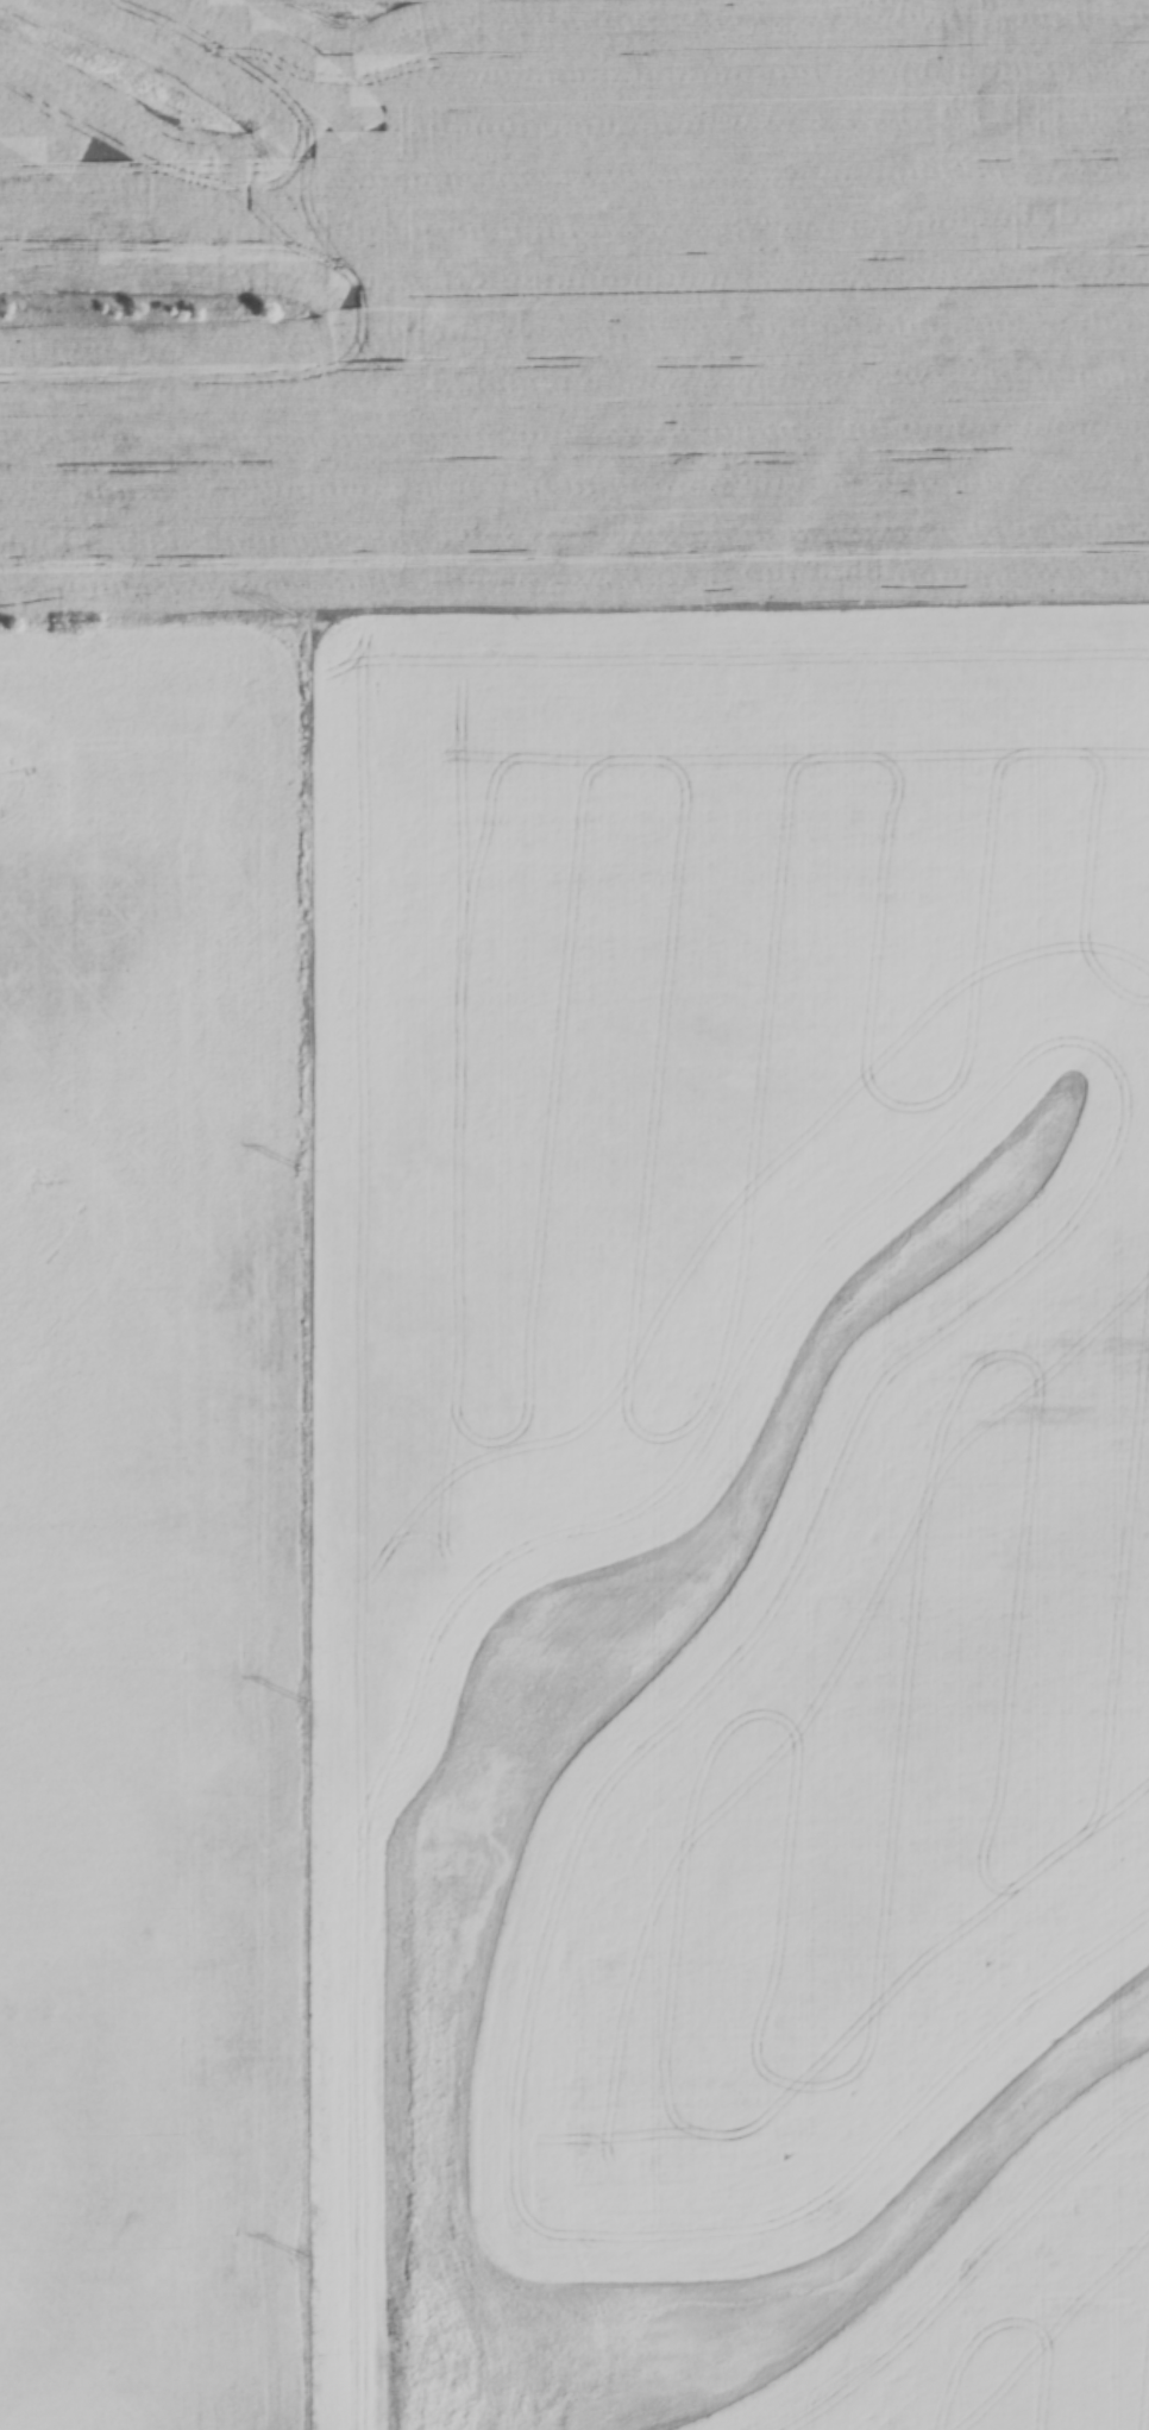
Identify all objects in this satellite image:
power tower: (333, 26)
power tower: (294, 620)
power tower: (301, 1172)
power tower: (301, 1702)
power tower: (301, 2256)

